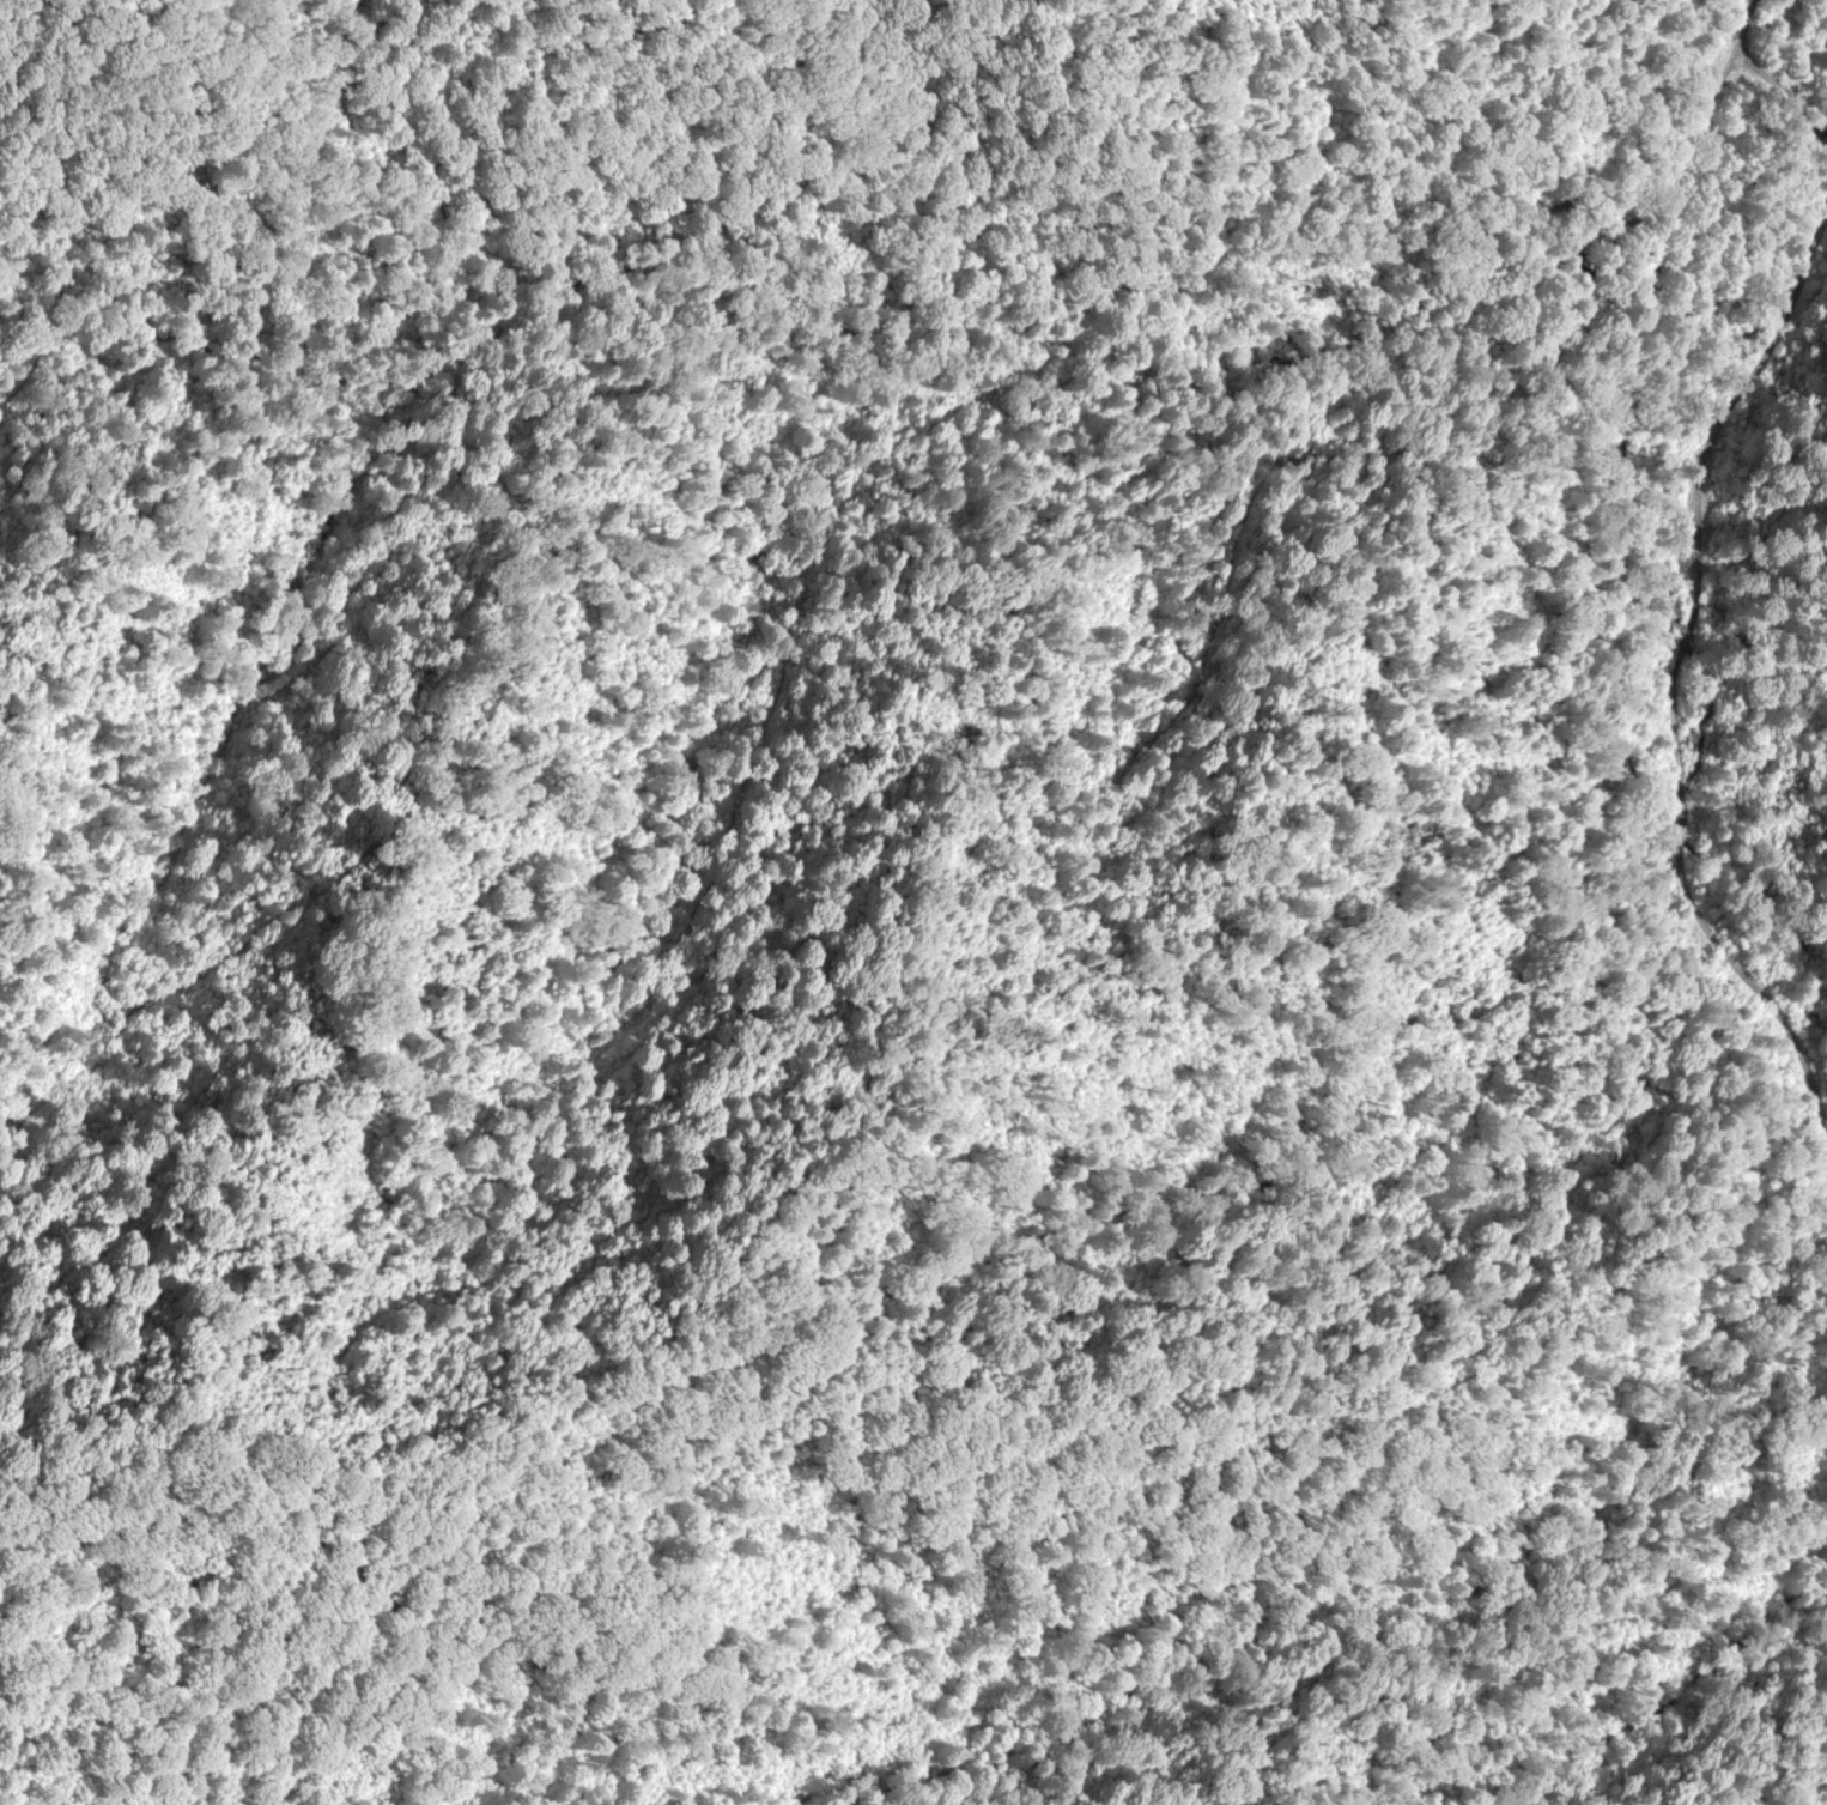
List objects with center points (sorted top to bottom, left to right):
building: (494, 1325)

